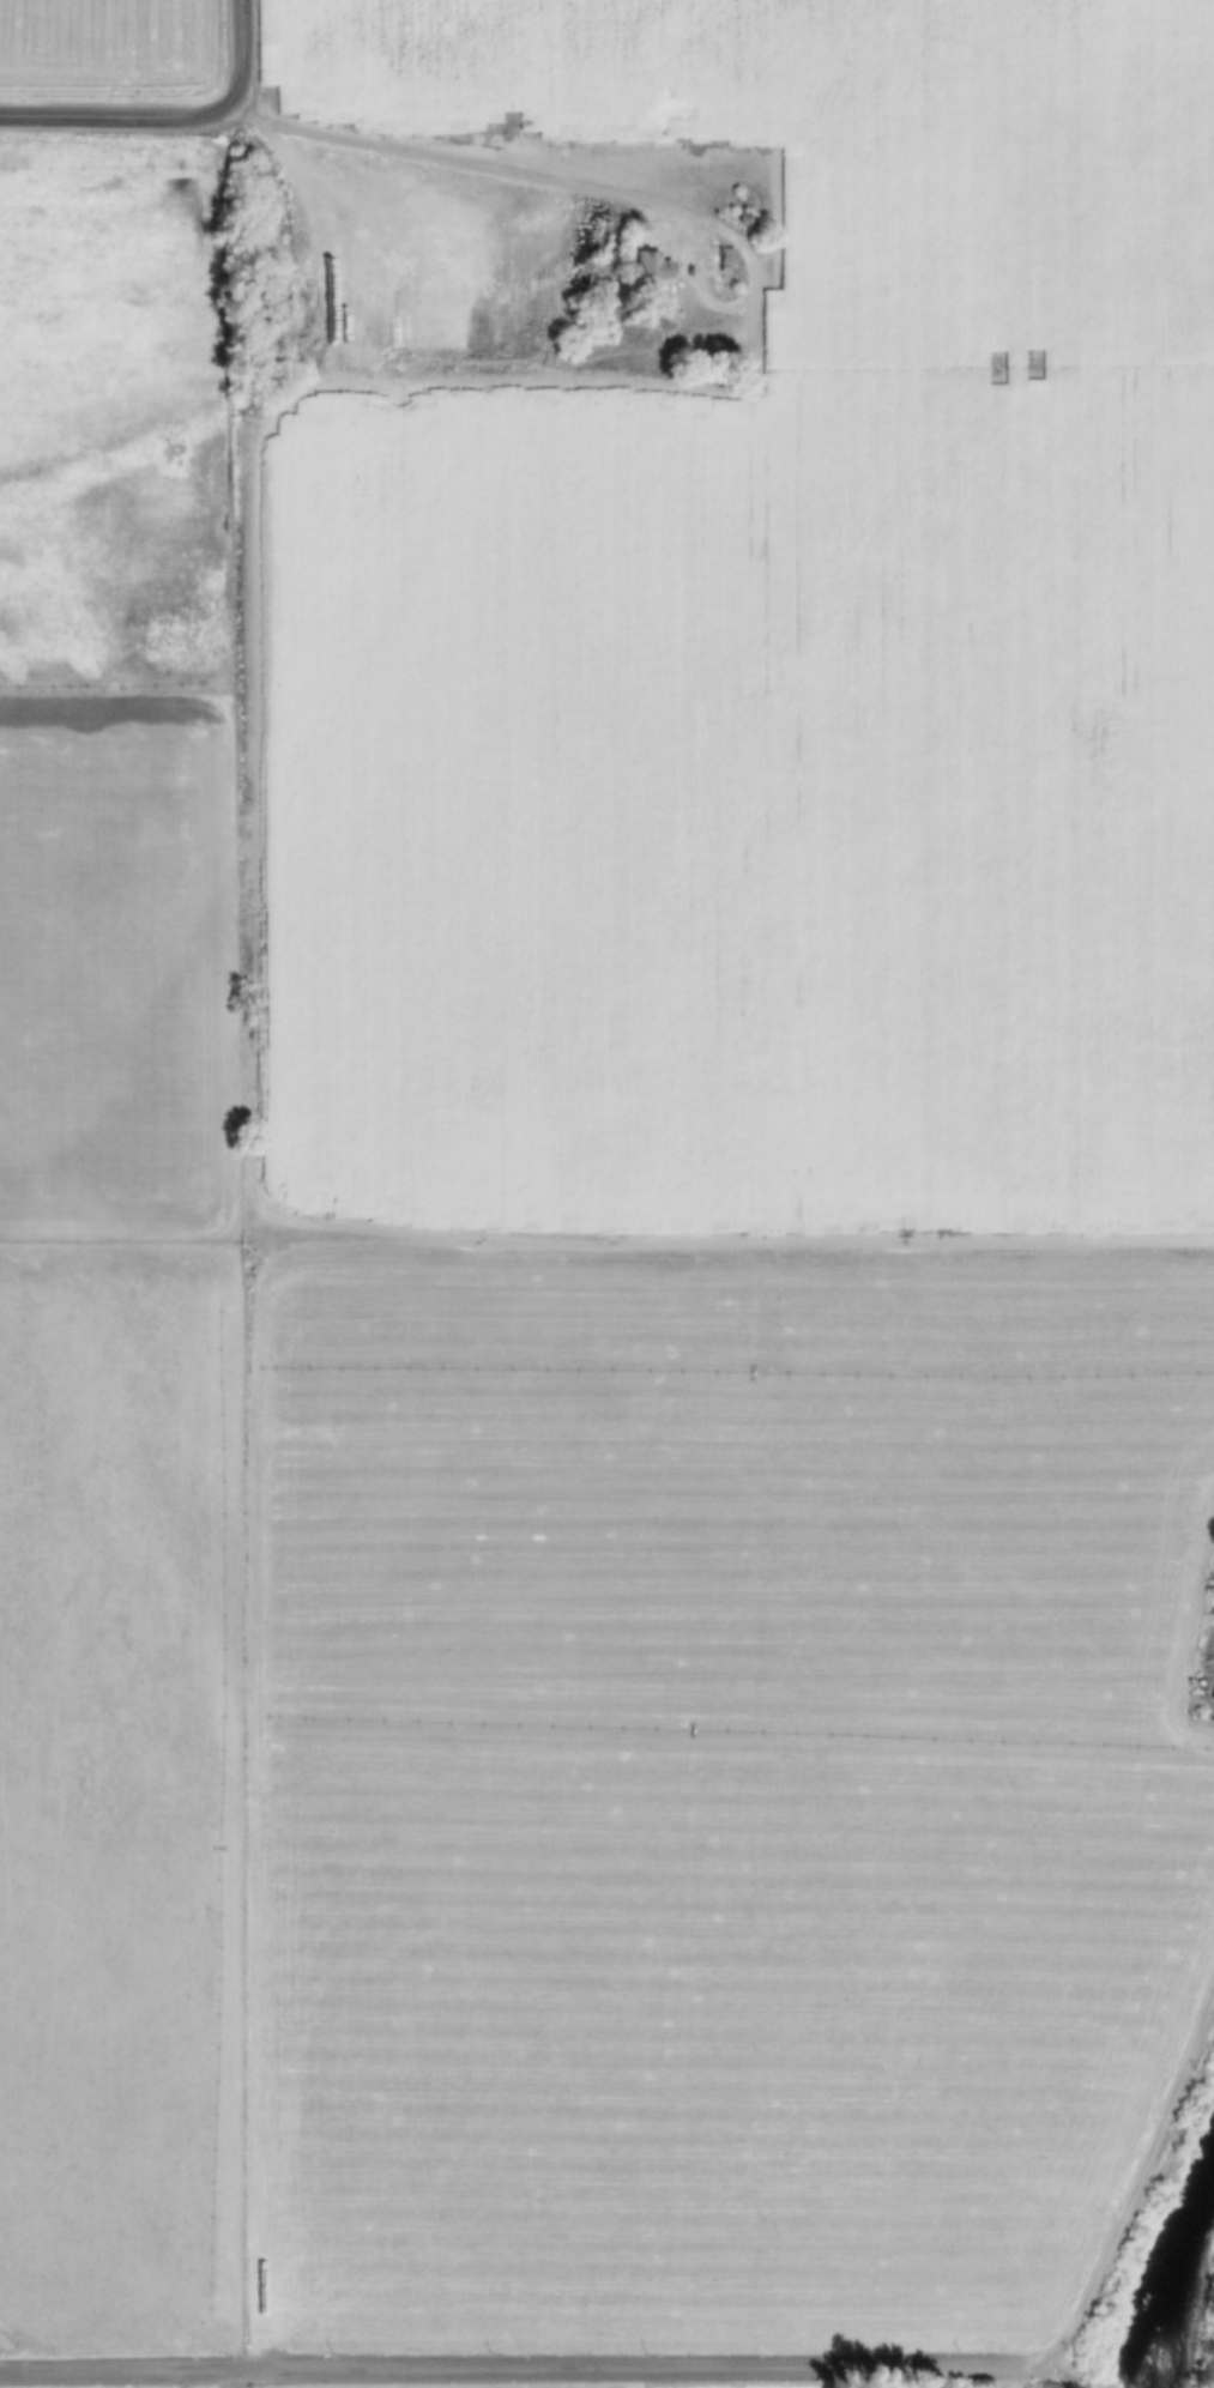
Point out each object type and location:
road: (168, 116)
road: (574, 186)
building: (650, 268)
building: (1212, 1697)
road: (733, 2372)
road: (235, 2381)

